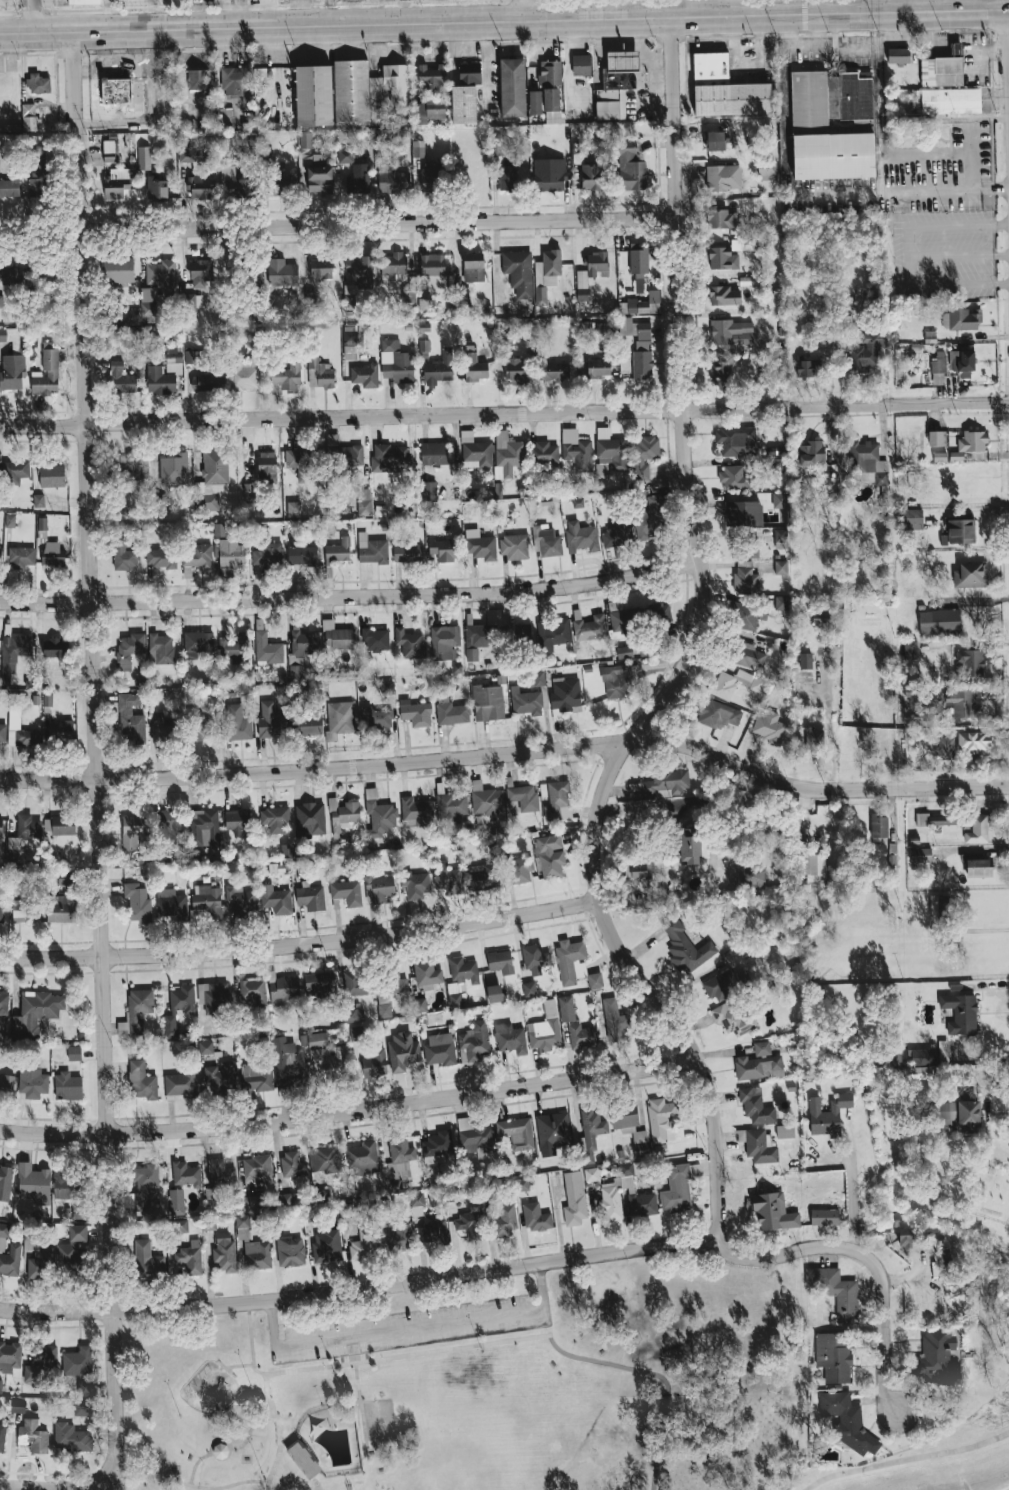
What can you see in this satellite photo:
road: (0, 1)
building: (84, 2)
road: (866, 5)
road: (890, 5)
road: (731, 6)
road: (521, 9)
road: (36, 14)
road: (504, 19)
road: (783, 29)
road: (817, 45)
road: (841, 47)
building: (955, 49)
building: (898, 55)
road: (486, 58)
building: (581, 65)
building: (942, 71)
building: (550, 72)
building: (469, 73)
building: (432, 76)
building: (198, 79)
building: (237, 81)
building: (38, 83)
building: (396, 83)
building: (616, 84)
building: (512, 87)
building: (725, 89)
building: (116, 91)
building: (353, 93)
building: (314, 95)
building: (551, 97)
building: (378, 101)
building: (951, 101)
building: (535, 102)
road: (876, 102)
building: (463, 104)
road: (152, 110)
building: (430, 110)
building: (29, 117)
building: (833, 128)
building: (305, 139)
building: (716, 140)
building: (500, 145)
building: (418, 149)
building: (109, 151)
building: (187, 154)
building: (345, 155)
building: (144, 158)
road: (972, 158)
building: (510, 161)
building: (631, 168)
building: (766, 170)
building: (432, 173)
building: (550, 174)
building: (39, 176)
building: (358, 176)
building: (590, 176)
building: (508, 177)
building: (723, 177)
building: (393, 179)
building: (320, 180)
building: (235, 181)
building: (116, 183)
building: (281, 184)
building: (9, 187)
building: (157, 187)
building: (200, 187)
road: (824, 194)
building: (720, 218)
road: (338, 226)
building: (737, 244)
road: (960, 255)
building: (722, 258)
building: (638, 259)
building: (394, 264)
building: (473, 267)
building: (321, 269)
building: (592, 269)
building: (433, 270)
building: (118, 271)
building: (361, 271)
building: (201, 272)
building: (281, 272)
building: (518, 272)
building: (11, 274)
building: (47, 275)
building: (162, 275)
building: (723, 295)
building: (1, 301)
building: (642, 304)
building: (143, 309)
building: (960, 320)
building: (728, 330)
building: (6, 334)
building: (424, 345)
building: (639, 345)
building: (866, 351)
building: (193, 356)
building: (396, 362)
building: (962, 362)
building: (806, 366)
building: (475, 367)
building: (938, 367)
building: (598, 368)
building: (439, 369)
building: (517, 369)
building: (722, 370)
building: (12, 371)
building: (555, 371)
building: (322, 372)
building: (47, 374)
building: (365, 375)
building: (164, 376)
building: (286, 376)
building: (244, 377)
building: (121, 379)
building: (205, 382)
road: (504, 414)
building: (935, 438)
building: (736, 441)
building: (970, 443)
building: (610, 449)
building: (577, 450)
building: (475, 451)
building: (811, 452)
building: (434, 453)
building: (544, 453)
building: (37, 454)
building: (507, 454)
building: (645, 454)
building: (353, 456)
building: (390, 457)
building: (296, 458)
building: (869, 461)
building: (267, 463)
building: (130, 466)
building: (174, 468)
building: (601, 468)
building: (16, 469)
building: (52, 475)
building: (734, 477)
building: (211, 479)
building: (429, 491)
building: (39, 500)
building: (364, 502)
building: (159, 505)
building: (293, 509)
building: (743, 513)
building: (650, 515)
building: (10, 519)
building: (913, 519)
building: (42, 523)
building: (219, 529)
building: (617, 534)
building: (580, 536)
building: (548, 541)
building: (480, 547)
building: (514, 547)
building: (371, 549)
building: (444, 549)
building: (338, 550)
building: (408, 552)
building: (0, 553)
building: (232, 553)
building: (302, 553)
building: (268, 554)
building: (125, 555)
building: (53, 556)
building: (200, 556)
building: (21, 557)
building: (161, 558)
building: (781, 567)
building: (971, 575)
building: (747, 577)
road: (351, 594)
building: (781, 603)
building: (750, 616)
building: (821, 616)
building: (624, 620)
building: (939, 621)
building: (593, 627)
building: (512, 633)
building: (552, 634)
building: (481, 635)
building: (338, 636)
building: (375, 639)
building: (198, 641)
building: (444, 641)
building: (410, 643)
building: (56, 647)
building: (236, 647)
building: (161, 648)
building: (130, 649)
building: (267, 649)
building: (910, 649)
building: (301, 650)
building: (625, 652)
building: (14, 653)
road: (687, 653)
building: (749, 655)
building: (806, 660)
building: (970, 662)
building: (539, 678)
building: (619, 679)
building: (751, 681)
building: (722, 685)
building: (387, 687)
building: (565, 694)
building: (915, 696)
building: (490, 700)
building: (526, 701)
building: (964, 702)
building: (451, 711)
building: (416, 713)
building: (717, 714)
building: (378, 715)
building: (131, 716)
building: (341, 717)
building: (269, 719)
road: (828, 720)
building: (310, 721)
building: (236, 723)
building: (160, 726)
building: (202, 727)
building: (770, 728)
building: (63, 730)
building: (3, 732)
building: (24, 737)
building: (814, 739)
building: (973, 741)
building: (946, 748)
road: (508, 751)
road: (97, 762)
building: (665, 783)
building: (523, 797)
building: (486, 799)
building: (558, 801)
road: (690, 805)
building: (450, 808)
building: (416, 812)
building: (379, 814)
building: (342, 815)
building: (275, 819)
building: (311, 819)
building: (237, 820)
building: (936, 820)
building: (59, 825)
building: (170, 825)
building: (28, 826)
building: (880, 827)
building: (204, 828)
building: (976, 828)
building: (0, 830)
building: (133, 830)
building: (14, 843)
building: (691, 844)
building: (288, 850)
building: (549, 855)
building: (920, 855)
building: (813, 861)
building: (977, 865)
building: (517, 868)
building: (640, 870)
building: (482, 876)
building: (751, 876)
building: (448, 878)
building: (415, 884)
building: (379, 888)
building: (347, 892)
building: (311, 898)
building: (207, 899)
building: (276, 900)
building: (241, 901)
building: (172, 902)
building: (137, 904)
building: (62, 906)
building: (939, 906)
building: (2, 909)
building: (24, 911)
road: (977, 932)
road: (299, 943)
building: (685, 946)
building: (535, 958)
building: (571, 961)
building: (500, 962)
building: (427, 973)
building: (460, 978)
building: (595, 980)
building: (320, 983)
building: (726, 983)
building: (359, 984)
building: (399, 985)
building: (283, 989)
building: (529, 989)
building: (252, 991)
building: (494, 993)
building: (213, 996)
building: (4, 1002)
building: (420, 1005)
building: (178, 1008)
building: (566, 1008)
building: (384, 1009)
building: (137, 1010)
building: (36, 1012)
building: (960, 1013)
building: (355, 1015)
building: (734, 1019)
building: (615, 1020)
building: (206, 1029)
building: (545, 1029)
building: (356, 1033)
building: (581, 1035)
building: (510, 1038)
building: (318, 1040)
building: (473, 1042)
building: (206, 1047)
building: (762, 1048)
building: (439, 1049)
building: (404, 1050)
building: (943, 1050)
building: (74, 1053)
building: (924, 1057)
building: (330, 1062)
building: (375, 1064)
building: (290, 1065)
building: (758, 1067)
building: (219, 1075)
building: (256, 1077)
building: (32, 1081)
building: (142, 1081)
building: (7, 1084)
building: (179, 1085)
building: (68, 1086)
building: (756, 1106)
road: (350, 1110)
building: (828, 1114)
building: (961, 1115)
building: (661, 1118)
building: (630, 1126)
building: (785, 1131)
building: (552, 1132)
building: (516, 1133)
building: (590, 1134)
building: (478, 1140)
building: (760, 1145)
building: (437, 1146)
building: (362, 1158)
building: (325, 1159)
building: (400, 1160)
building: (293, 1164)
building: (257, 1167)
building: (220, 1173)
building: (186, 1174)
building: (591, 1174)
building: (5, 1182)
building: (34, 1183)
building: (67, 1184)
building: (520, 1184)
building: (141, 1187)
building: (676, 1189)
building: (610, 1190)
building: (452, 1194)
building: (211, 1199)
building: (286, 1199)
building: (574, 1199)
building: (249, 1202)
road: (852, 1202)
building: (177, 1203)
building: (417, 1203)
building: (346, 1210)
building: (78, 1212)
building: (773, 1212)
building: (311, 1215)
building: (536, 1217)
building: (825, 1217)
building: (505, 1221)
building: (180, 1225)
building: (468, 1225)
building: (434, 1230)
building: (2, 1236)
building: (400, 1238)
building: (905, 1238)
building: (364, 1244)
building: (252, 1246)
building: (326, 1246)
building: (71, 1247)
building: (290, 1251)
building: (225, 1252)
building: (36, 1257)
building: (190, 1257)
building: (944, 1258)
building: (11, 1260)
building: (147, 1260)
road: (869, 1260)
road: (541, 1279)
road: (361, 1288)
building: (835, 1290)
road: (271, 1316)
road: (409, 1329)
parking lot: (415, 1329)
building: (44, 1354)
building: (10, 1356)
building: (833, 1356)
building: (937, 1357)
road: (367, 1360)
building: (78, 1361)
road: (235, 1364)
building: (31, 1373)
road: (657, 1375)
building: (0, 1386)
park: (482, 1387)
building: (85, 1388)
road: (269, 1394)
road: (351, 1401)
building: (18, 1406)
building: (83, 1408)
park: (376, 1419)
building: (847, 1421)
building: (2, 1436)
building: (33, 1436)
building: (71, 1438)
road: (238, 1445)
road: (280, 1447)
road: (222, 1457)
road: (199, 1458)
road: (905, 1458)
building: (303, 1460)
road: (272, 1468)
road: (186, 1483)
road: (45, 1486)

